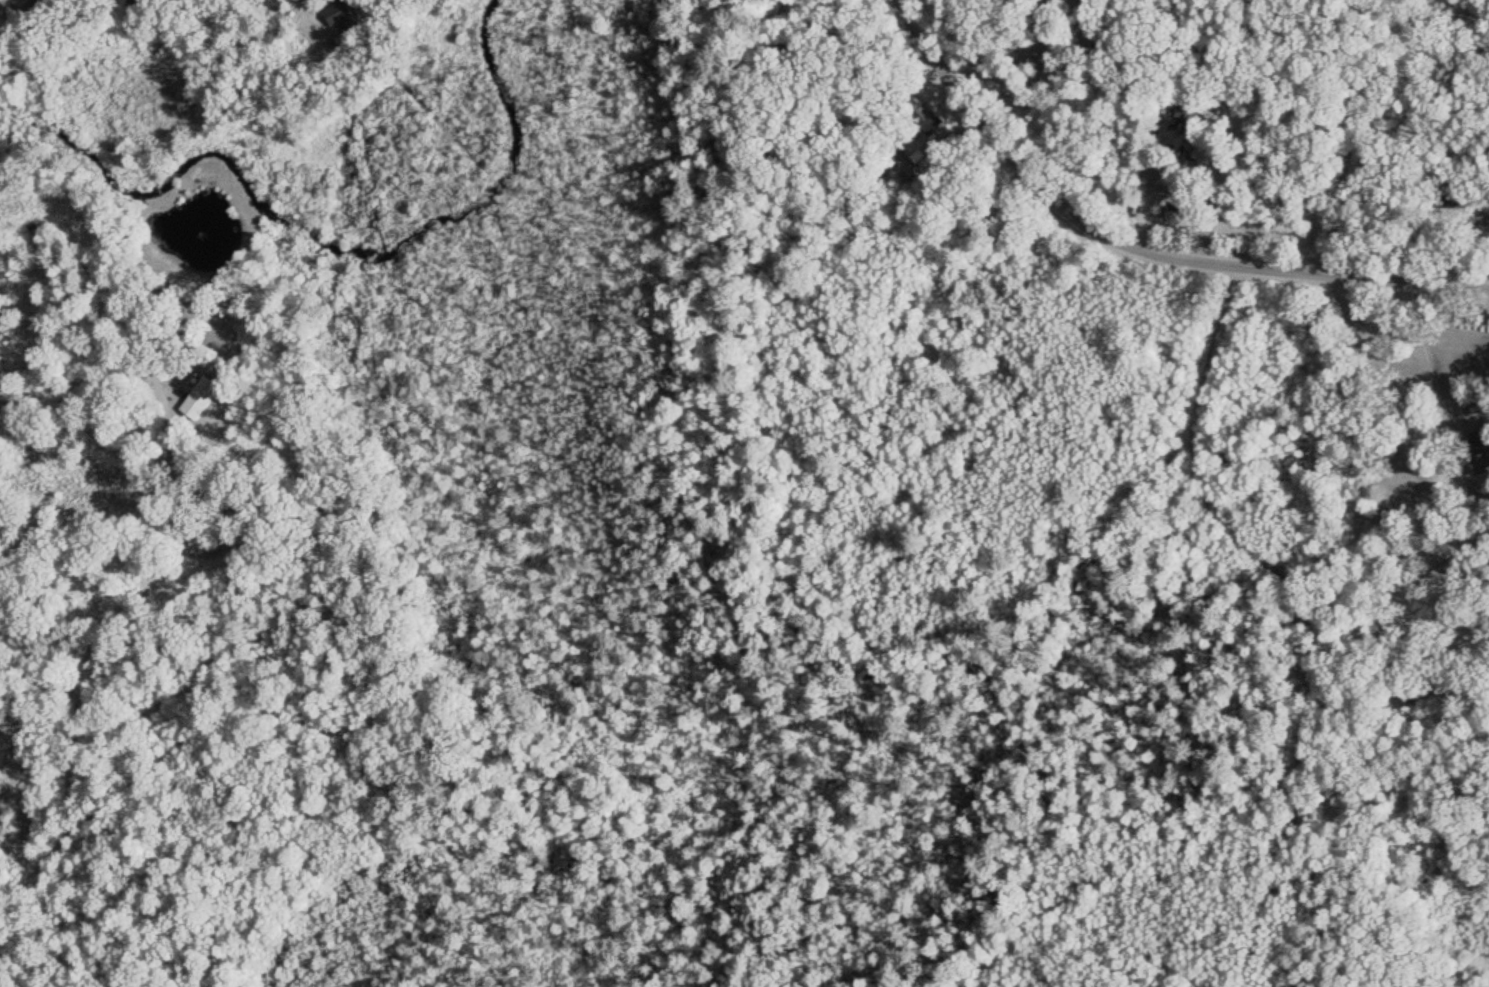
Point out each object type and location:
building: (21, 5)
building: (345, 14)
building: (1207, 143)
building: (1481, 219)
road: (1135, 243)
building: (203, 397)
building: (1461, 572)

